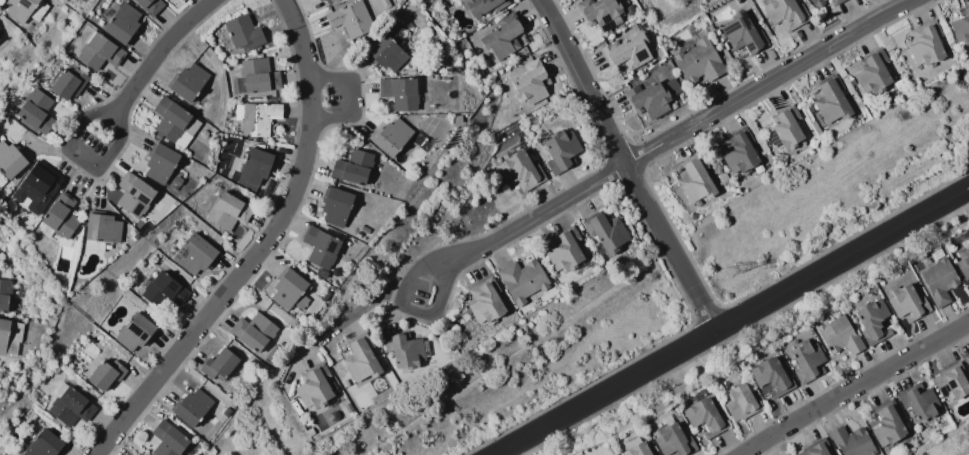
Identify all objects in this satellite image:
building: (317, 0)
building: (815, 2)
building: (834, 2)
building: (148, 5)
building: (482, 6)
building: (17, 9)
building: (783, 12)
building: (598, 13)
building: (349, 18)
building: (121, 23)
building: (241, 32)
building: (741, 32)
building: (0, 35)
building: (500, 38)
building: (925, 44)
building: (387, 48)
building: (98, 51)
building: (626, 51)
road: (161, 54)
building: (697, 62)
building: (873, 72)
building: (256, 75)
road: (773, 80)
road: (586, 81)
building: (64, 82)
building: (187, 82)
building: (527, 82)
building: (398, 92)
road: (350, 98)
building: (647, 99)
building: (829, 100)
building: (35, 111)
building: (257, 118)
building: (173, 122)
building: (783, 128)
building: (390, 136)
building: (559, 150)
building: (737, 151)
building: (9, 159)
road: (83, 159)
building: (159, 164)
building: (253, 166)
building: (351, 167)
building: (519, 171)
building: (694, 180)
building: (34, 187)
building: (132, 193)
building: (334, 207)
building: (226, 211)
building: (59, 216)
road: (537, 216)
building: (99, 231)
building: (606, 232)
road: (261, 245)
building: (319, 248)
road: (672, 248)
building: (563, 250)
building: (192, 254)
road: (843, 262)
power tower: (732, 270)
building: (521, 280)
building: (937, 281)
building: (161, 289)
building: (288, 290)
building: (3, 295)
building: (484, 301)
building: (906, 303)
road: (408, 305)
road: (357, 308)
building: (871, 320)
building: (252, 331)
building: (133, 333)
building: (837, 335)
building: (9, 336)
building: (402, 350)
building: (359, 360)
building: (805, 360)
building: (966, 360)
building: (218, 365)
building: (104, 373)
building: (769, 377)
building: (950, 382)
building: (314, 386)
road: (852, 386)
road: (608, 394)
building: (917, 400)
building: (740, 402)
building: (69, 406)
building: (191, 406)
building: (703, 416)
building: (886, 423)
building: (167, 440)
building: (672, 441)
building: (850, 441)
building: (42, 444)
building: (637, 448)

